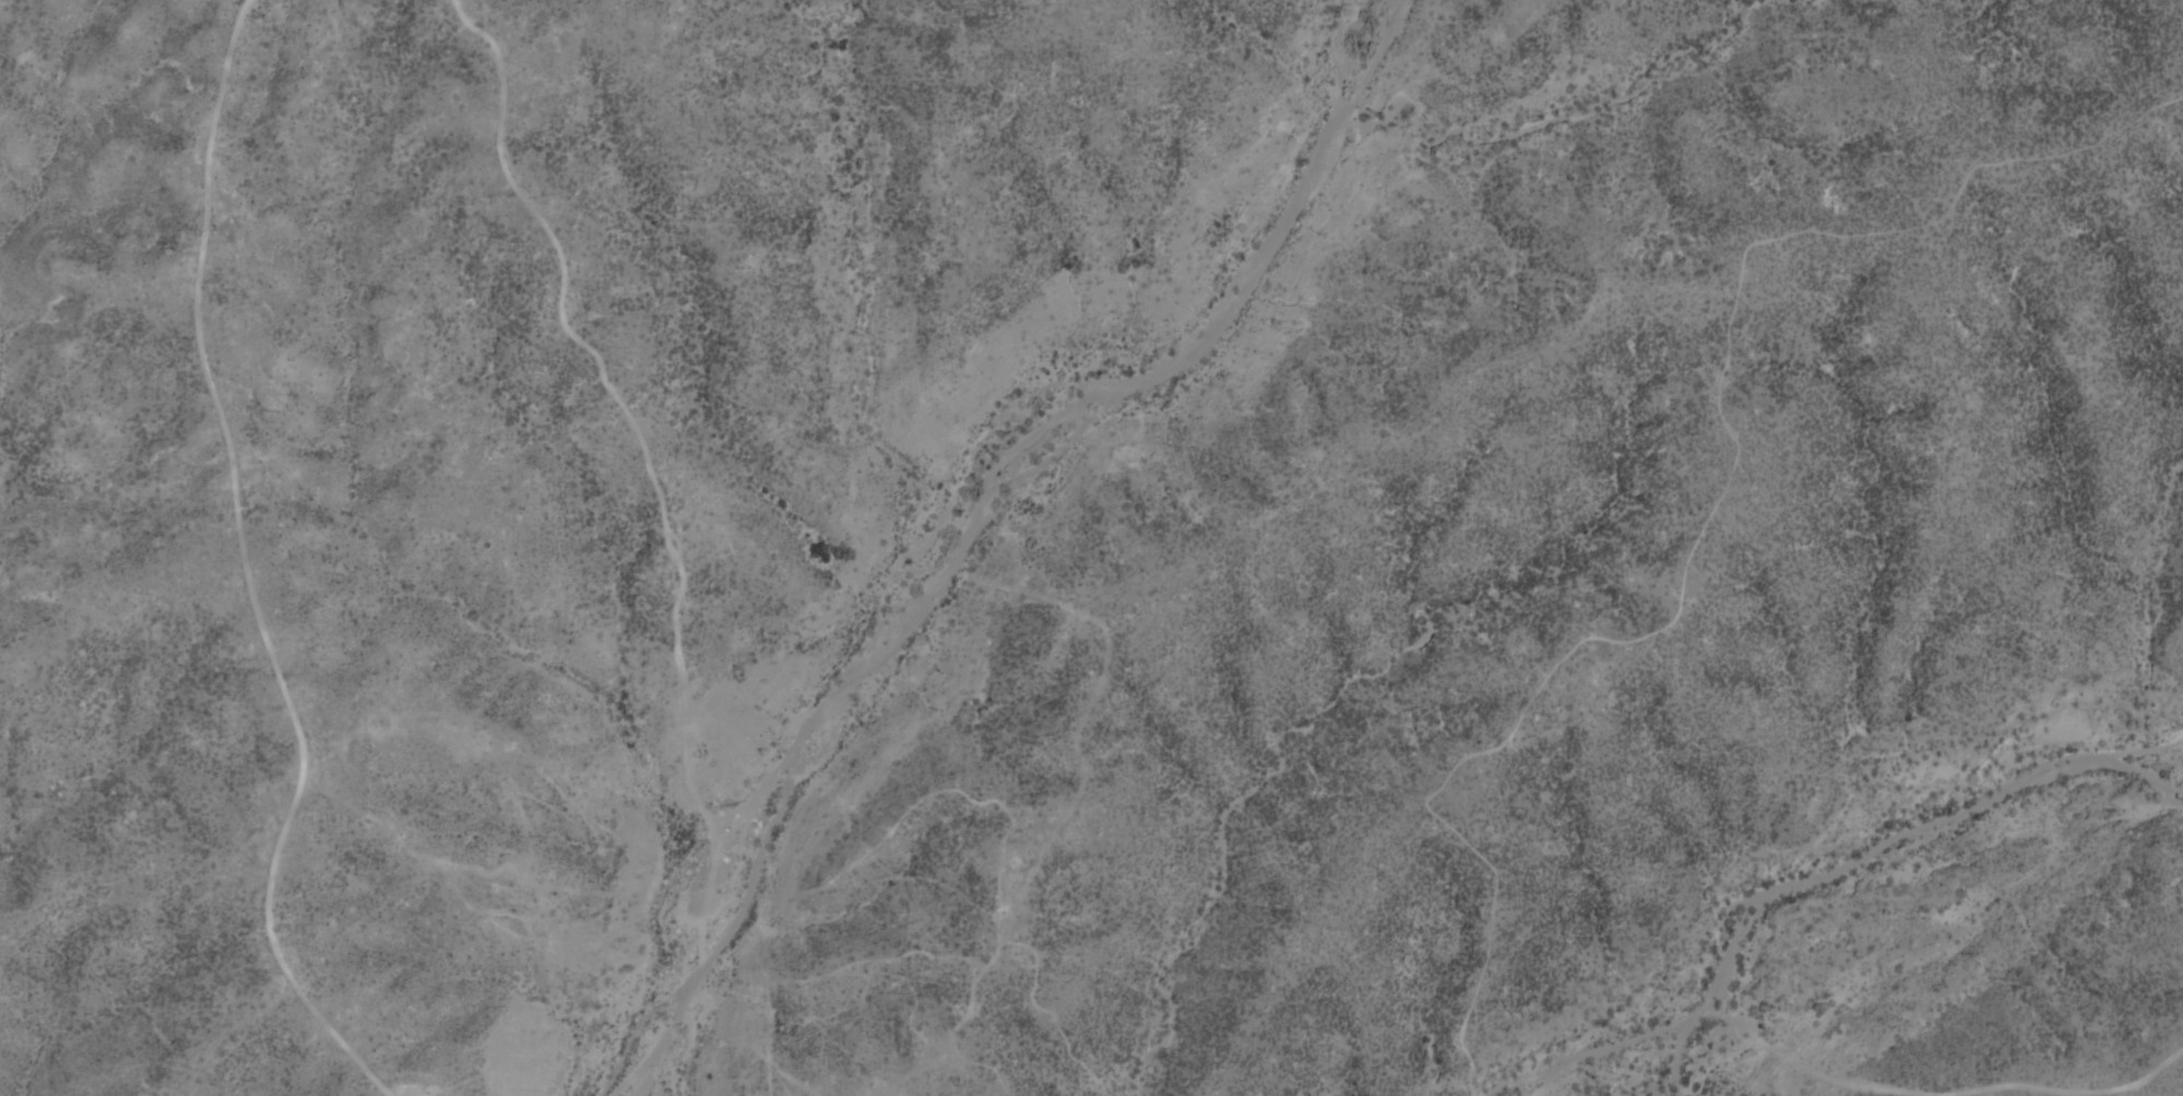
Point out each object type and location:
road: (643, 448)
road: (247, 571)
road: (663, 1027)
road: (1838, 1081)

